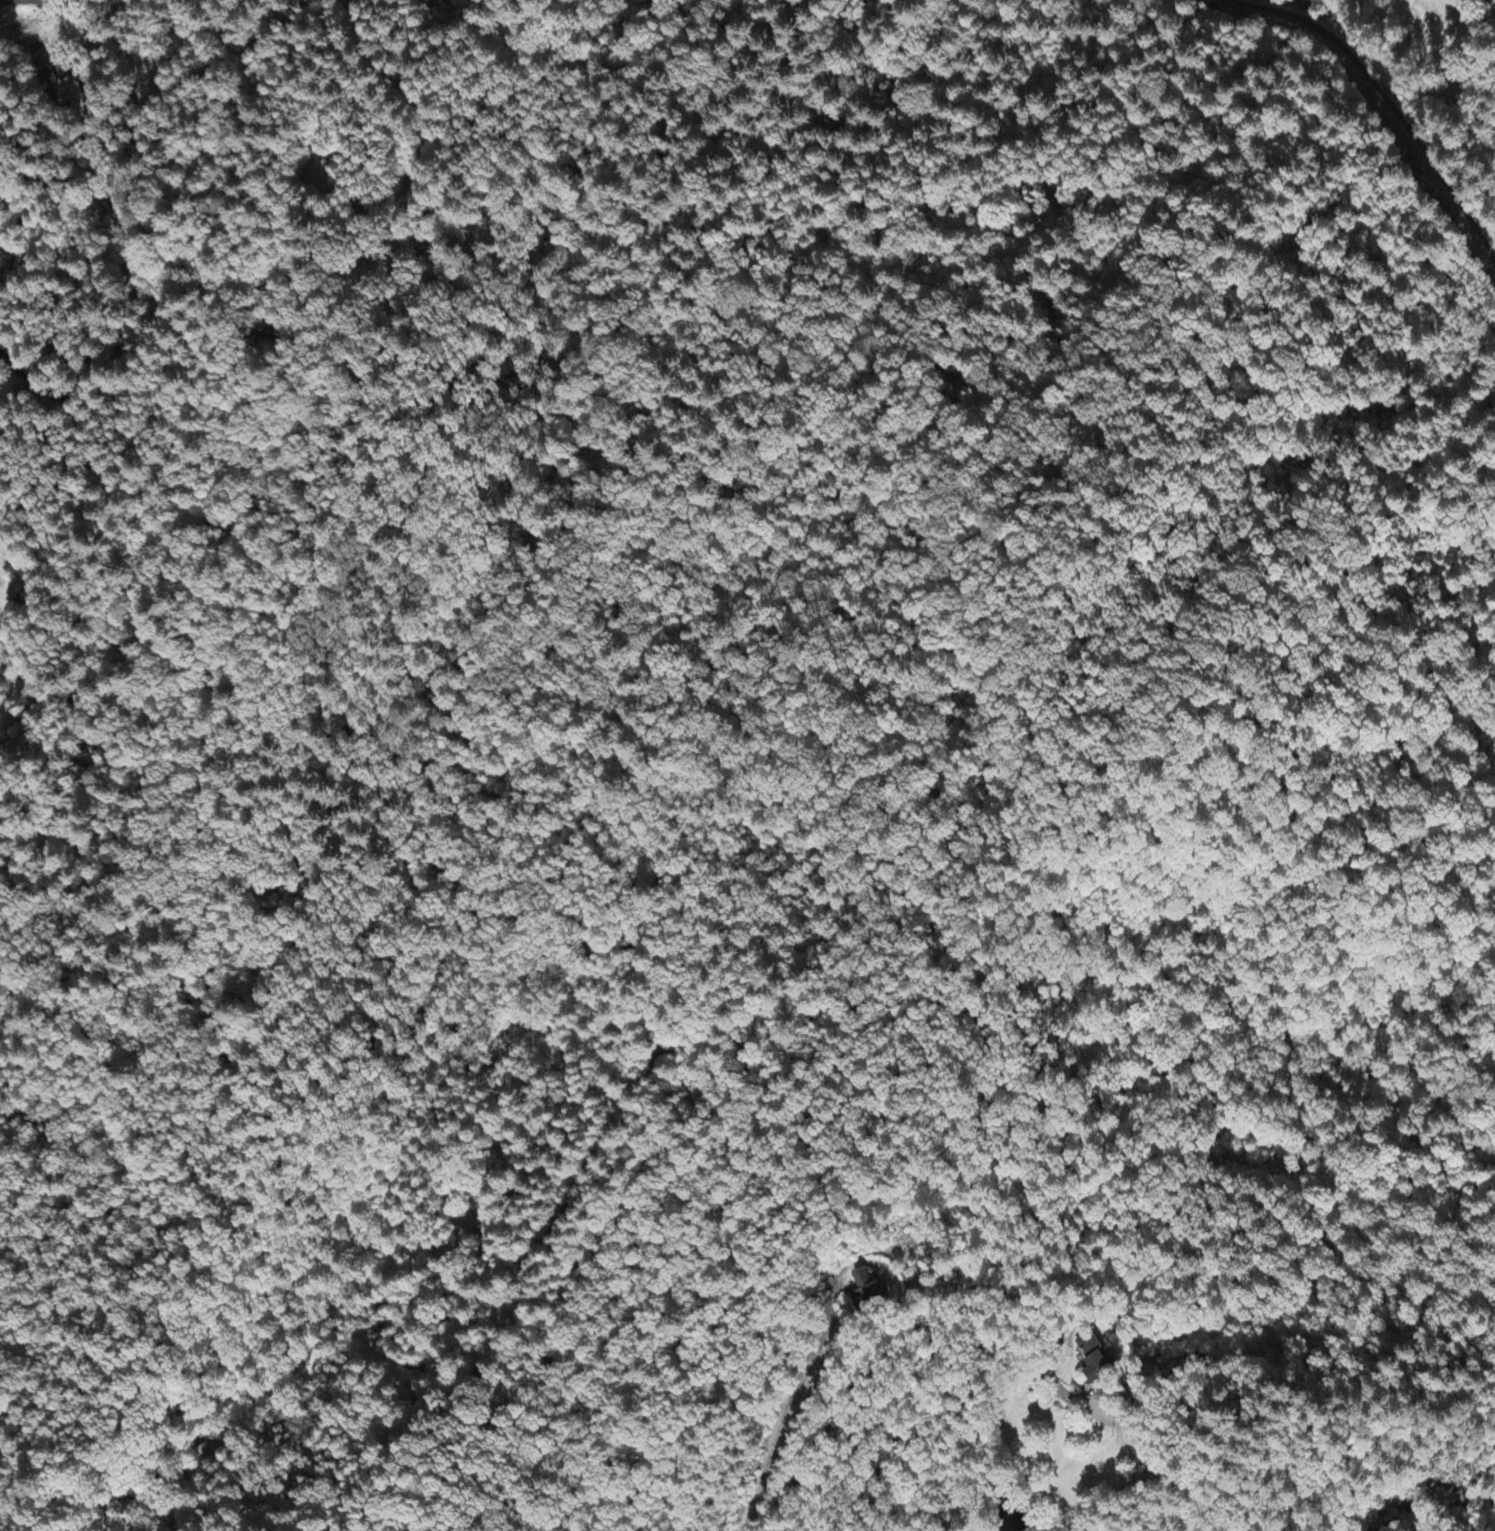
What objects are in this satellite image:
road: (593, 965)
building: (872, 1286)
building: (1099, 1361)
road: (867, 1407)
road: (1140, 1494)

